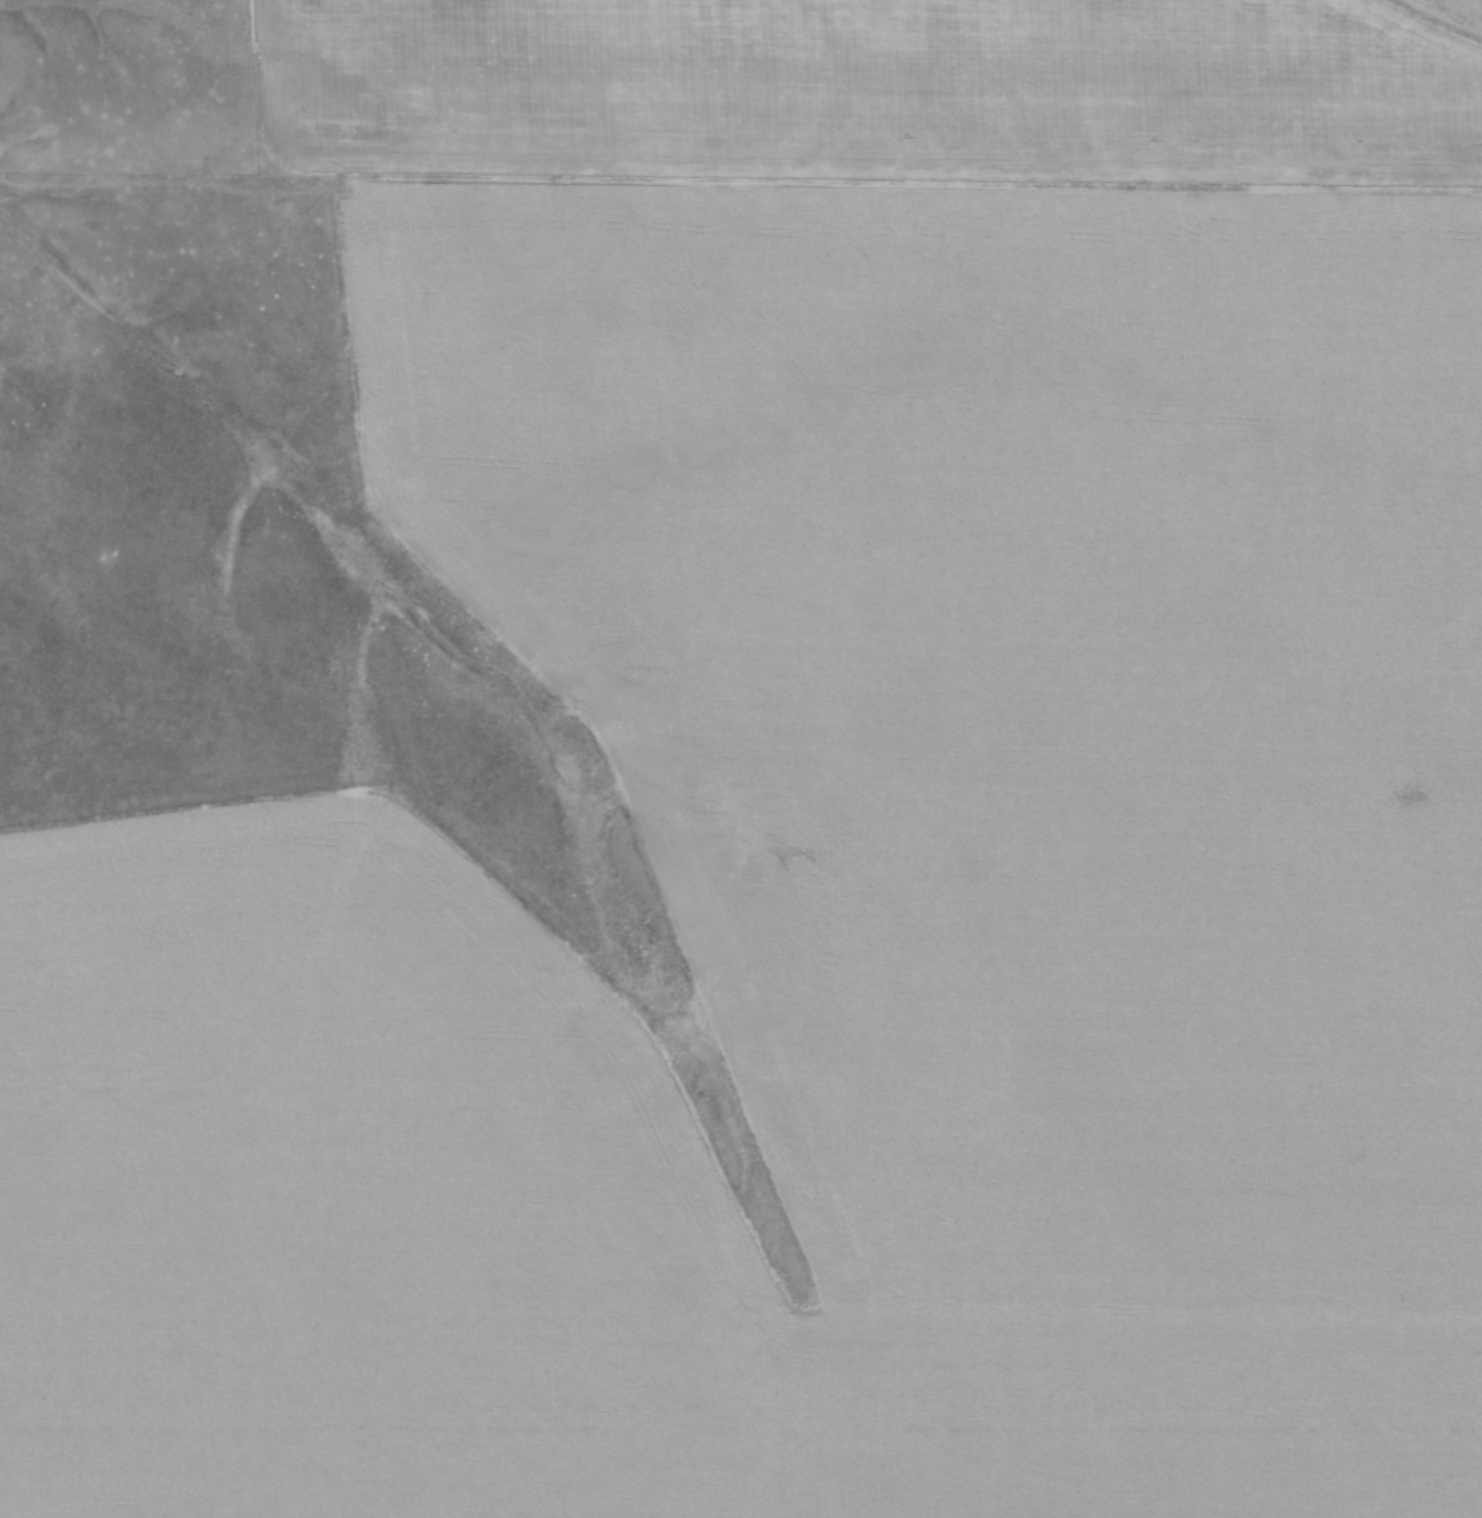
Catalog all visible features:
crop: (833, 802)

